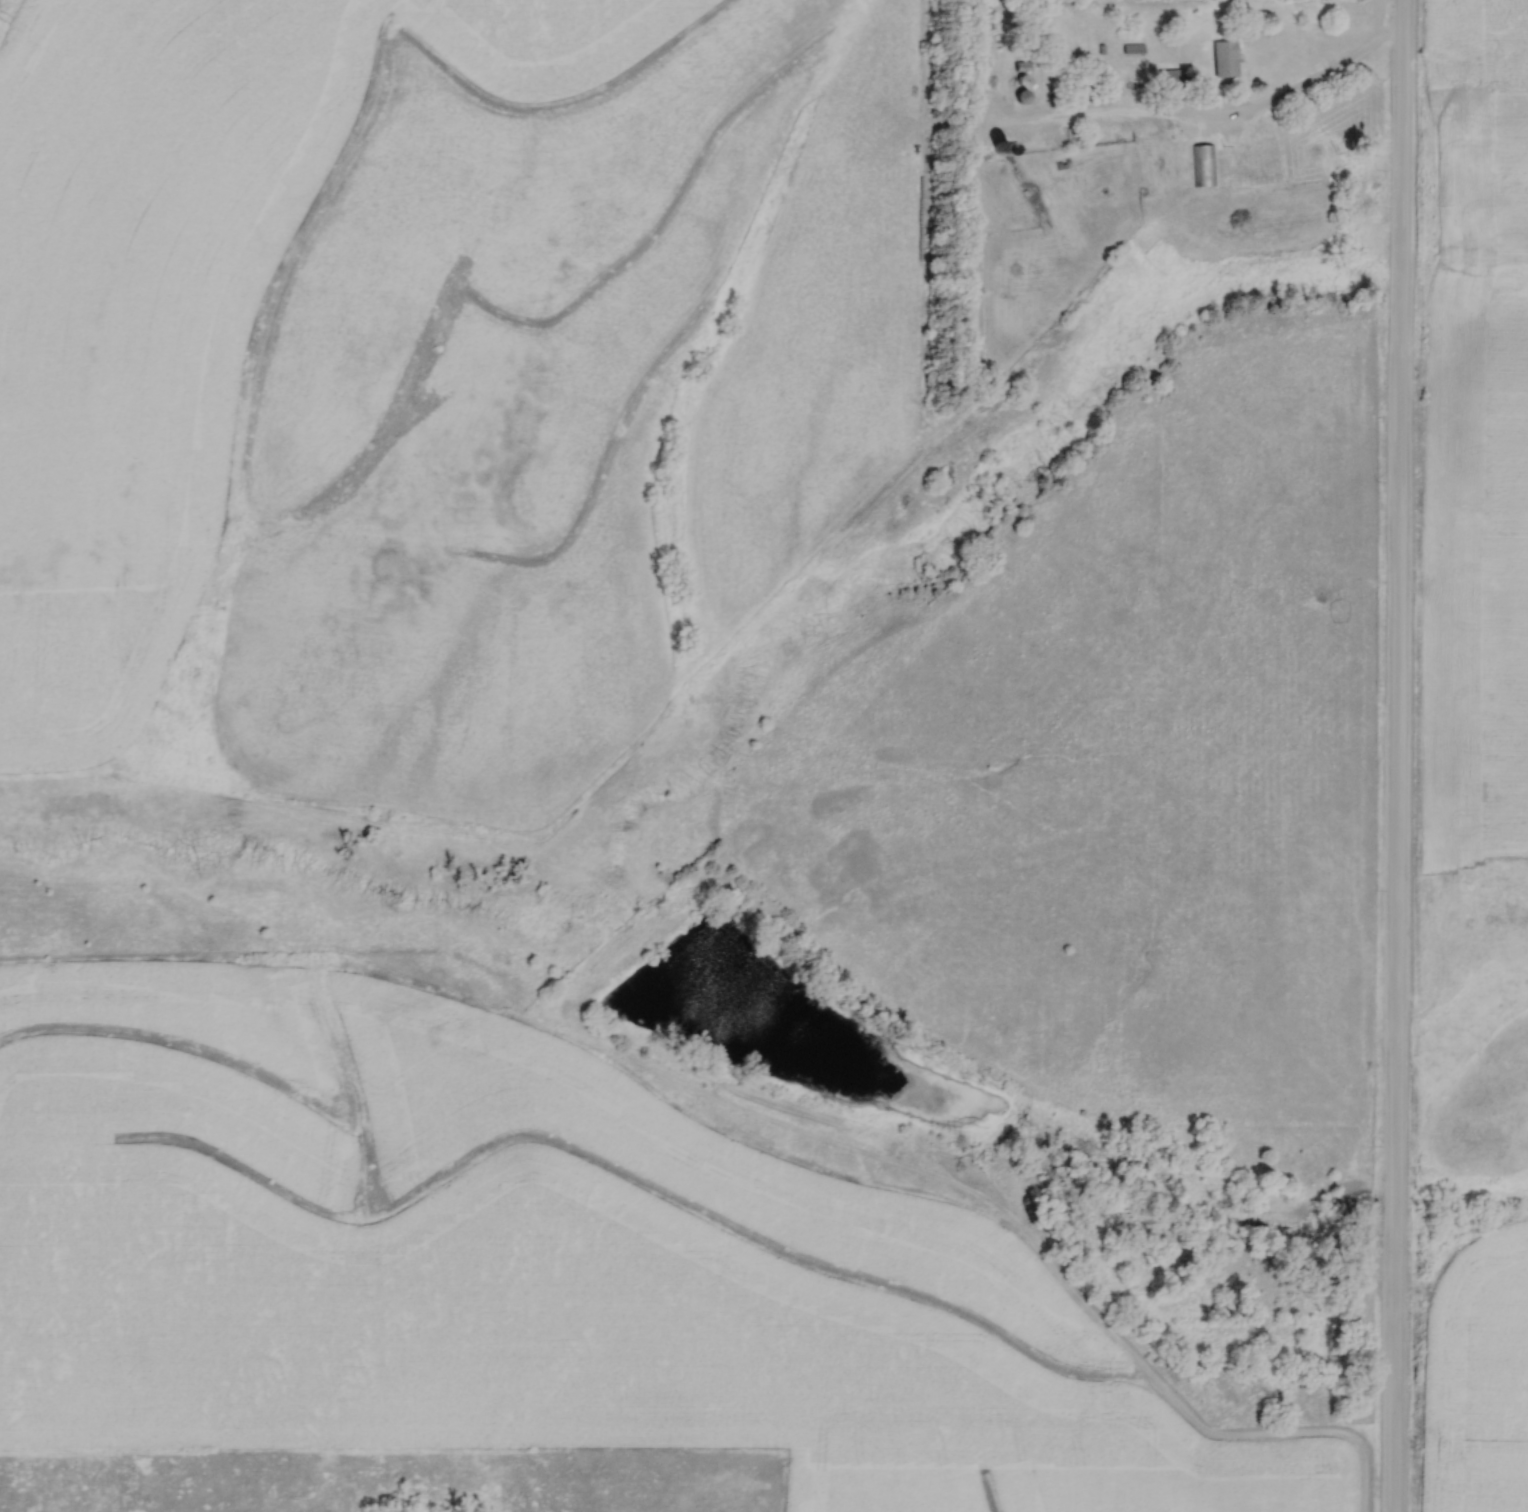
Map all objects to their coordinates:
building: (1224, 57)
building: (1172, 78)
road: (1289, 93)
building: (1203, 164)
road: (1396, 756)

